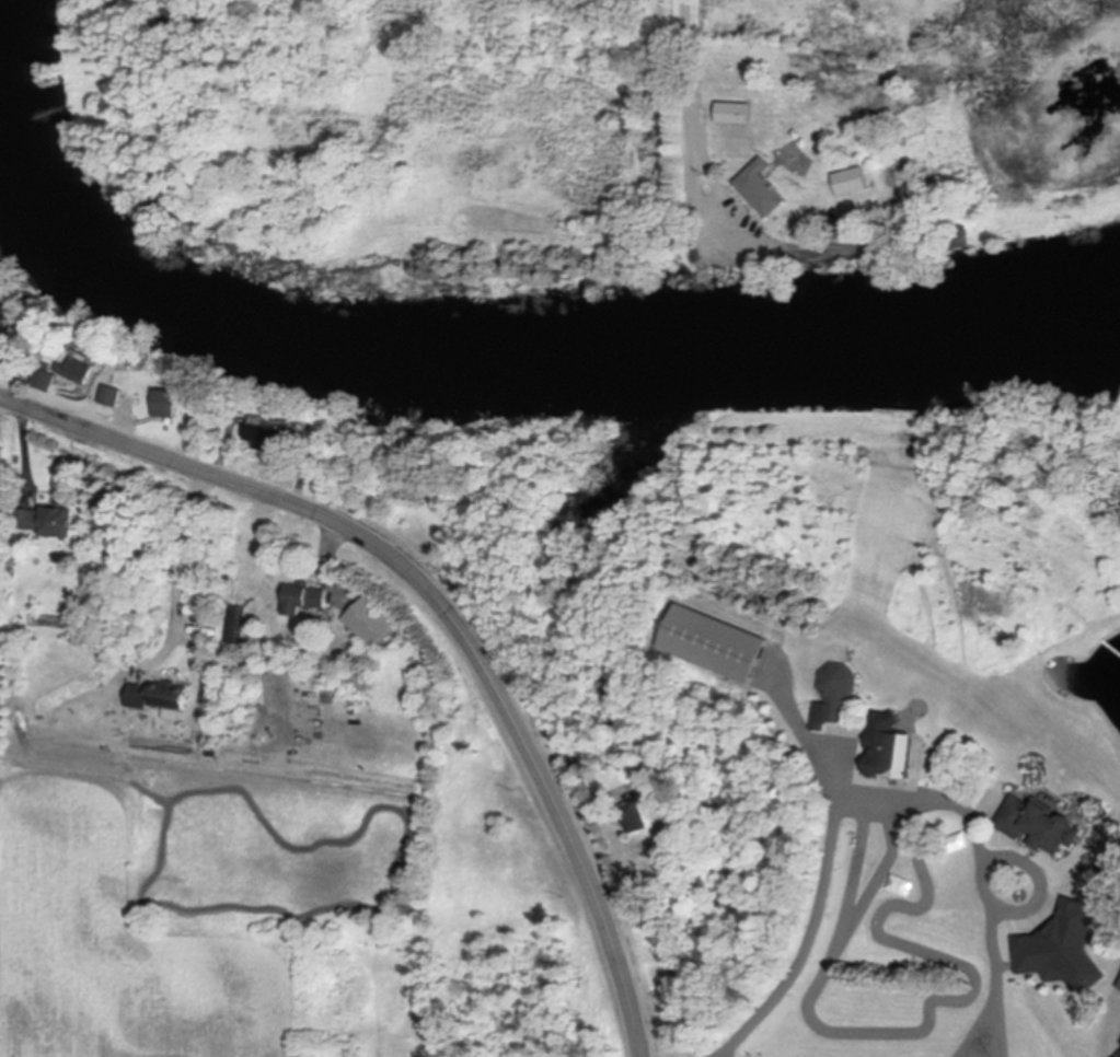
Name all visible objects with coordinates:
road: (686, 48)
building: (735, 116)
building: (851, 184)
building: (760, 191)
road: (716, 218)
building: (11, 322)
river: (513, 364)
building: (76, 372)
building: (47, 381)
building: (113, 397)
building: (166, 405)
building: (267, 440)
road: (28, 448)
building: (1, 465)
building: (0, 504)
building: (54, 523)
road: (327, 560)
road: (178, 569)
building: (305, 602)
road: (446, 604)
building: (49, 620)
building: (373, 626)
building: (723, 647)
building: (833, 697)
building: (162, 701)
building: (891, 750)
road: (579, 810)
building: (636, 820)
building: (1041, 827)
road: (830, 853)
road: (1031, 861)
building: (1065, 951)
road: (1000, 991)
road: (1004, 1025)
road: (1118, 1055)

